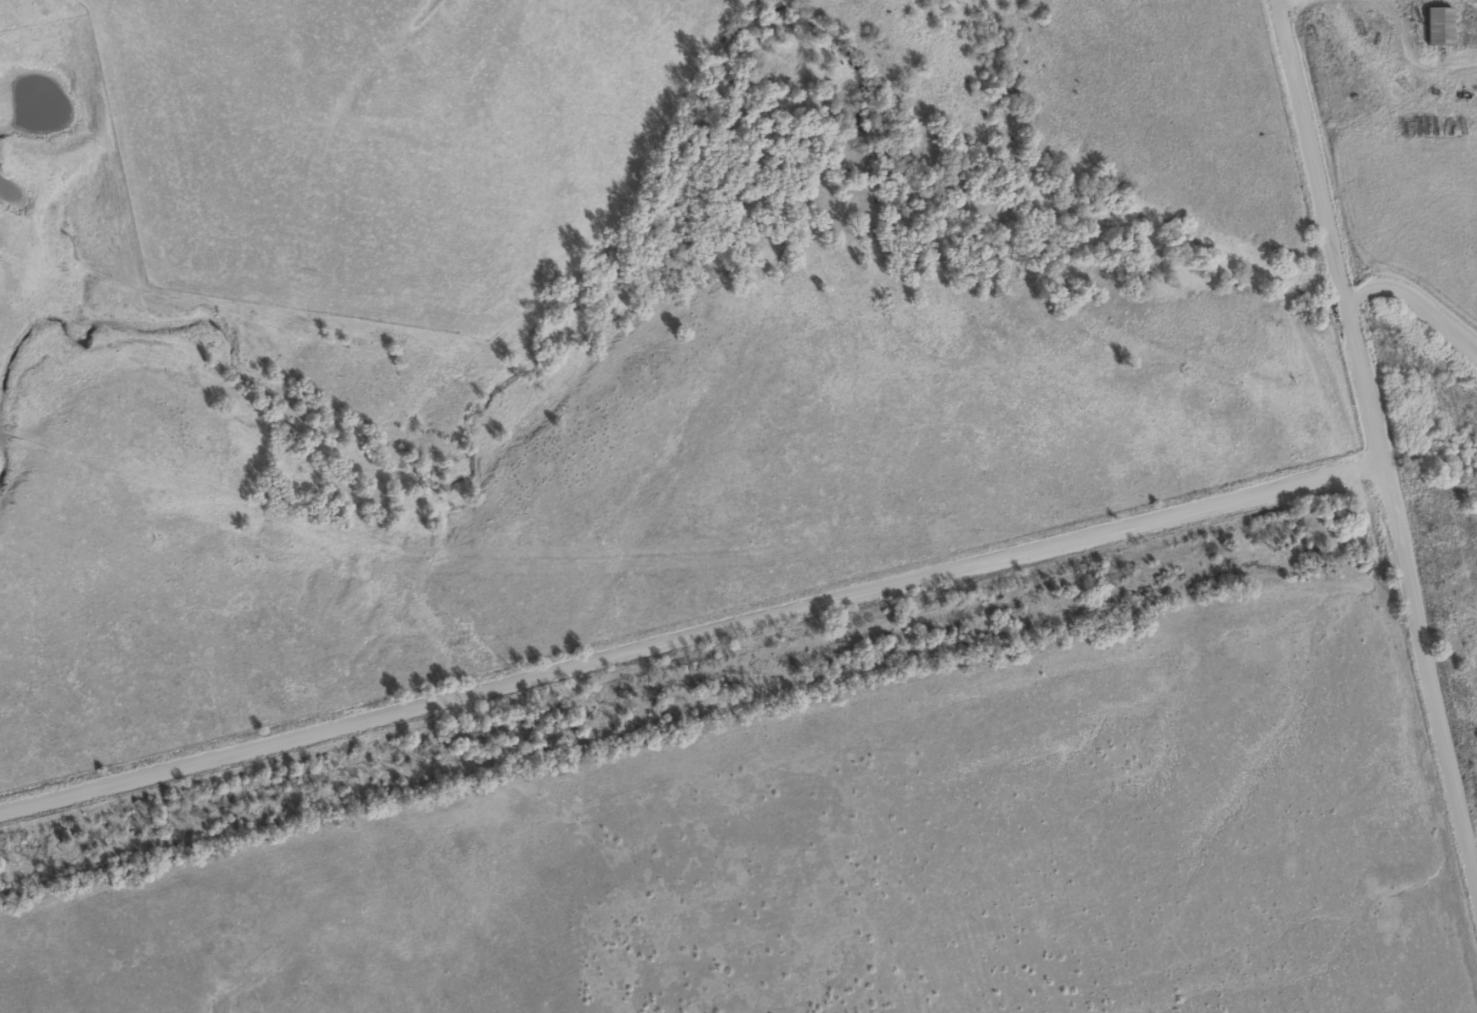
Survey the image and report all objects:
building: (1440, 18)
road: (1414, 296)
road: (1372, 416)
road: (691, 627)

